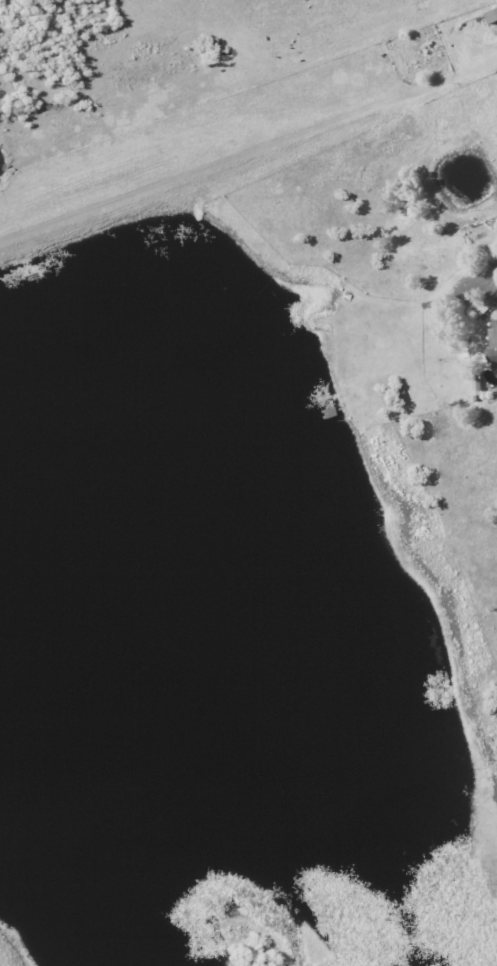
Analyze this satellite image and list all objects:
building: (491, 16)
dam: (231, 180)
road: (479, 271)

